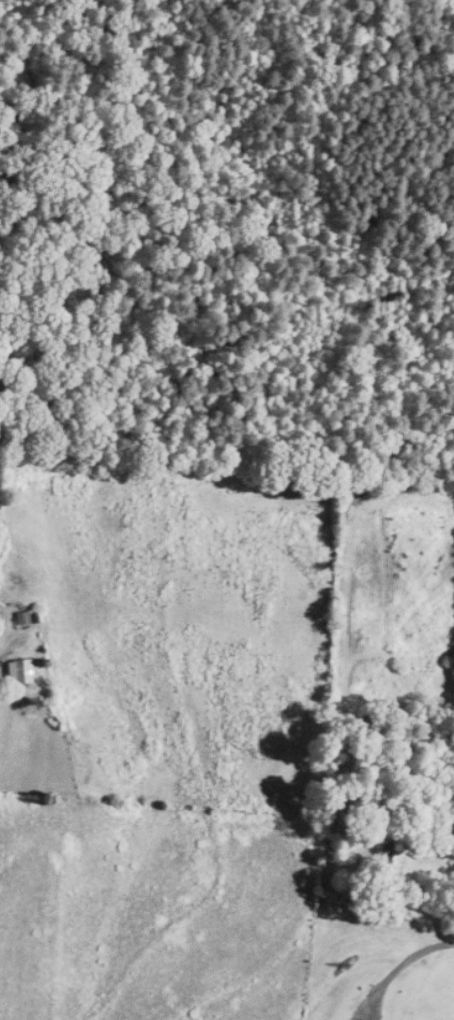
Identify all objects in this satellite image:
building: (25, 617)
road: (9, 639)
building: (30, 670)
building: (389, 853)
road: (402, 964)

